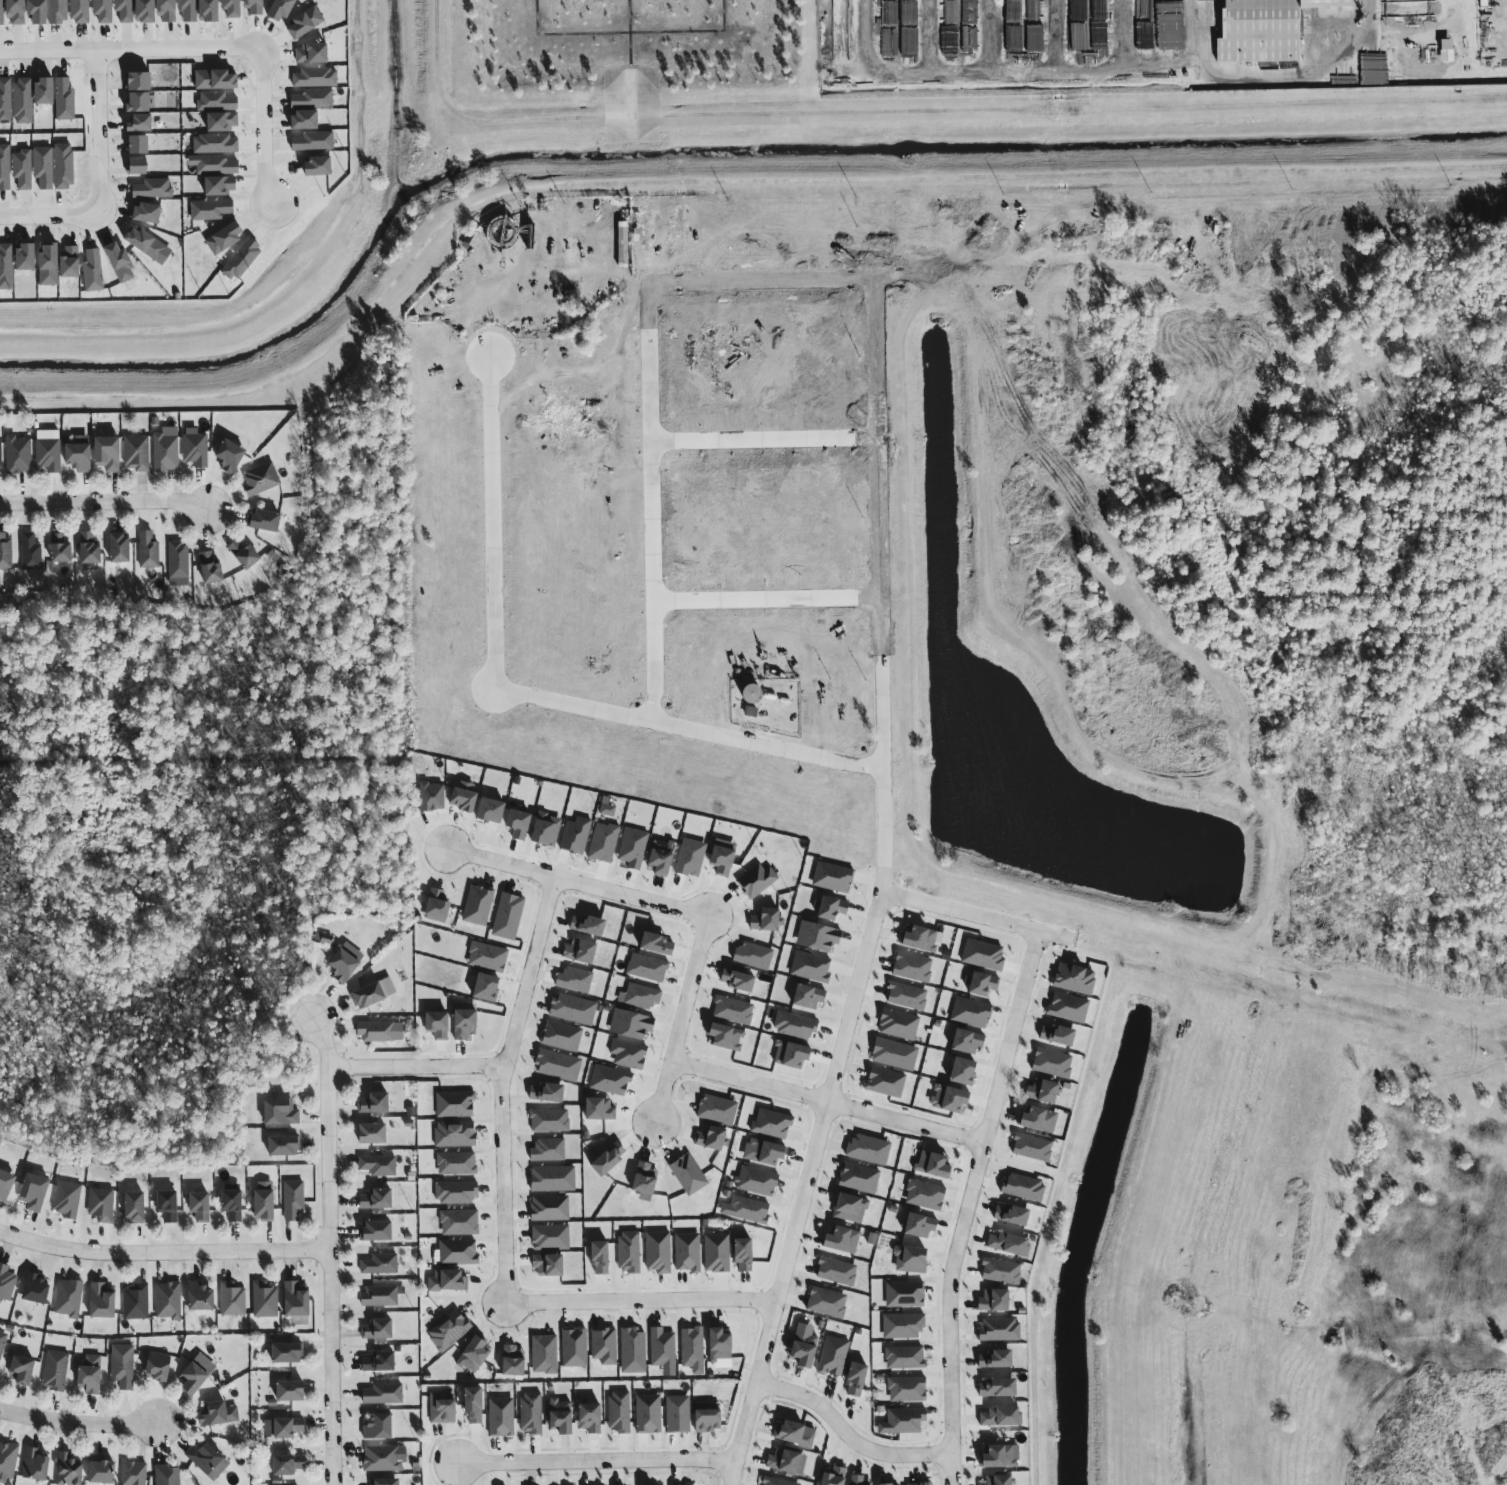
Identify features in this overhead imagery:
building: (254, 7)
building: (232, 8)
building: (125, 10)
building: (188, 10)
building: (282, 10)
building: (1100, 10)
building: (48, 11)
building: (80, 11)
building: (103, 11)
building: (147, 11)
building: (167, 11)
building: (210, 11)
building: (2, 12)
building: (17, 12)
building: (909, 13)
building: (307, 22)
road: (864, 28)
building: (1268, 30)
building: (950, 40)
building: (970, 40)
road: (128, 48)
building: (1448, 51)
building: (313, 54)
building: (316, 78)
building: (217, 80)
building: (139, 82)
building: (57, 97)
building: (314, 99)
building: (5, 100)
building: (23, 101)
building: (217, 101)
building: (139, 103)
building: (305, 121)
building: (223, 122)
building: (141, 123)
road: (99, 128)
road: (264, 132)
building: (314, 141)
river: (708, 143)
building: (215, 144)
building: (138, 145)
building: (216, 165)
building: (63, 166)
building: (139, 166)
building: (320, 167)
building: (5, 168)
building: (43, 168)
building: (22, 169)
building: (221, 186)
building: (153, 189)
building: (211, 210)
building: (148, 213)
road: (49, 216)
building: (643, 229)
building: (226, 238)
building: (145, 243)
building: (27, 258)
building: (242, 260)
building: (71, 262)
building: (120, 262)
building: (50, 266)
building: (6, 268)
building: (93, 271)
road: (254, 326)
road: (652, 397)
road: (766, 446)
building: (195, 447)
building: (165, 449)
building: (48, 450)
building: (136, 452)
building: (79, 453)
building: (108, 453)
building: (1, 455)
building: (18, 455)
building: (231, 455)
building: (261, 479)
road: (105, 506)
building: (265, 520)
building: (120, 547)
building: (60, 548)
building: (90, 549)
building: (148, 550)
building: (6, 552)
building: (30, 552)
building: (245, 553)
building: (178, 564)
building: (211, 568)
road: (769, 605)
building: (755, 694)
road: (529, 701)
building: (431, 797)
building: (465, 799)
building: (606, 807)
building: (492, 810)
building: (520, 824)
building: (546, 829)
building: (575, 835)
building: (603, 842)
building: (632, 847)
building: (662, 857)
building: (691, 858)
building: (723, 860)
building: (832, 874)
building: (757, 880)
road: (581, 885)
road: (880, 896)
building: (478, 905)
building: (438, 906)
building: (828, 907)
building: (508, 916)
road: (977, 917)
building: (766, 920)
building: (589, 925)
building: (814, 935)
building: (919, 937)
building: (659, 944)
building: (581, 951)
building: (980, 952)
building: (754, 955)
building: (488, 957)
building: (338, 961)
building: (909, 965)
building: (647, 967)
building: (807, 967)
road: (531, 976)
building: (1071, 976)
building: (575, 979)
building: (738, 980)
building: (978, 981)
building: (488, 987)
building: (369, 992)
building: (803, 994)
building: (903, 995)
building: (641, 997)
building: (465, 1006)
building: (1069, 1007)
building: (573, 1009)
building: (733, 1010)
building: (966, 1010)
building: (466, 1024)
building: (632, 1024)
building: (794, 1024)
building: (895, 1024)
building: (438, 1025)
building: (376, 1030)
road: (685, 1030)
building: (1052, 1030)
building: (561, 1036)
building: (727, 1036)
building: (961, 1039)
building: (787, 1052)
building: (629, 1054)
building: (895, 1054)
building: (1048, 1059)
building: (558, 1065)
building: (960, 1068)
road: (418, 1074)
building: (611, 1080)
building: (885, 1082)
building: (1038, 1088)
building: (548, 1093)
building: (945, 1097)
building: (369, 1100)
building: (455, 1104)
building: (600, 1109)
road: (832, 1109)
building: (275, 1110)
building: (718, 1110)
building: (1034, 1118)
building: (549, 1121)
building: (772, 1124)
building: (368, 1131)
building: (455, 1134)
building: (712, 1138)
building: (280, 1142)
building: (1028, 1145)
building: (865, 1147)
building: (548, 1150)
building: (763, 1150)
building: (610, 1159)
building: (375, 1163)
building: (456, 1163)
building: (927, 1163)
building: (689, 1174)
building: (4, 1177)
building: (856, 1177)
building: (553, 1179)
building: (754, 1179)
building: (646, 1181)
building: (1021, 1185)
building: (30, 1187)
road: (505, 1190)
building: (455, 1192)
building: (921, 1192)
building: (64, 1197)
building: (290, 1198)
building: (371, 1198)
building: (229, 1202)
building: (98, 1203)
building: (131, 1203)
building: (261, 1203)
building: (196, 1204)
building: (165, 1205)
road: (970, 1205)
building: (743, 1207)
building: (847, 1207)
building: (550, 1208)
building: (1008, 1212)
building: (459, 1222)
building: (916, 1224)
building: (372, 1229)
building: (551, 1237)
building: (838, 1238)
building: (1005, 1242)
road: (331, 1249)
building: (740, 1249)
building: (458, 1252)
building: (629, 1252)
building: (659, 1252)
building: (687, 1252)
building: (717, 1253)
road: (164, 1256)
building: (601, 1258)
building: (912, 1260)
building: (376, 1262)
building: (550, 1265)
building: (996, 1268)
building: (832, 1269)
building: (448, 1280)
building: (5, 1281)
building: (33, 1288)
building: (902, 1291)
building: (196, 1294)
building: (378, 1295)
building: (66, 1296)
building: (230, 1297)
building: (293, 1297)
building: (263, 1298)
building: (990, 1298)
building: (99, 1299)
building: (165, 1299)
building: (134, 1302)
building: (822, 1302)
road: (645, 1307)
building: (900, 1323)
building: (374, 1327)
building: (997, 1328)
building: (449, 1330)
building: (2, 1340)
building: (721, 1345)
building: (604, 1346)
building: (692, 1347)
building: (800, 1347)
building: (282, 1348)
building: (575, 1348)
building: (662, 1348)
building: (633, 1351)
building: (544, 1354)
building: (475, 1355)
building: (829, 1355)
building: (907, 1356)
building: (991, 1357)
building: (377, 1359)
building: (513, 1361)
building: (159, 1365)
building: (19, 1367)
building: (121, 1369)
building: (52, 1370)
building: (88, 1373)
building: (189, 1375)
building: (851, 1377)
building: (286, 1385)
building: (993, 1386)
building: (905, 1387)
building: (382, 1393)
building: (470, 1401)
building: (440, 1409)
building: (216, 1411)
building: (616, 1411)
building: (676, 1411)
building: (646, 1412)
building: (529, 1413)
building: (557, 1415)
building: (588, 1416)
building: (999, 1417)
road: (78, 1418)
building: (497, 1418)
building: (705, 1418)
building: (905, 1419)
building: (374, 1425)
building: (281, 1426)
building: (791, 1430)
road: (848, 1434)
building: (995, 1454)
building: (380, 1457)
building: (7, 1458)
building: (205, 1458)
building: (781, 1460)
road: (595, 1461)
building: (32, 1462)
building: (283, 1462)
building: (65, 1470)
building: (96, 1470)
building: (130, 1473)
building: (165, 1474)
building: (830, 1474)
building: (994, 1478)
building: (380, 1480)
building: (772, 1481)
building: (854, 1481)
building: (918, 1481)
building: (595, 1484)
building: (681, 1484)
building: (880, 1484)

